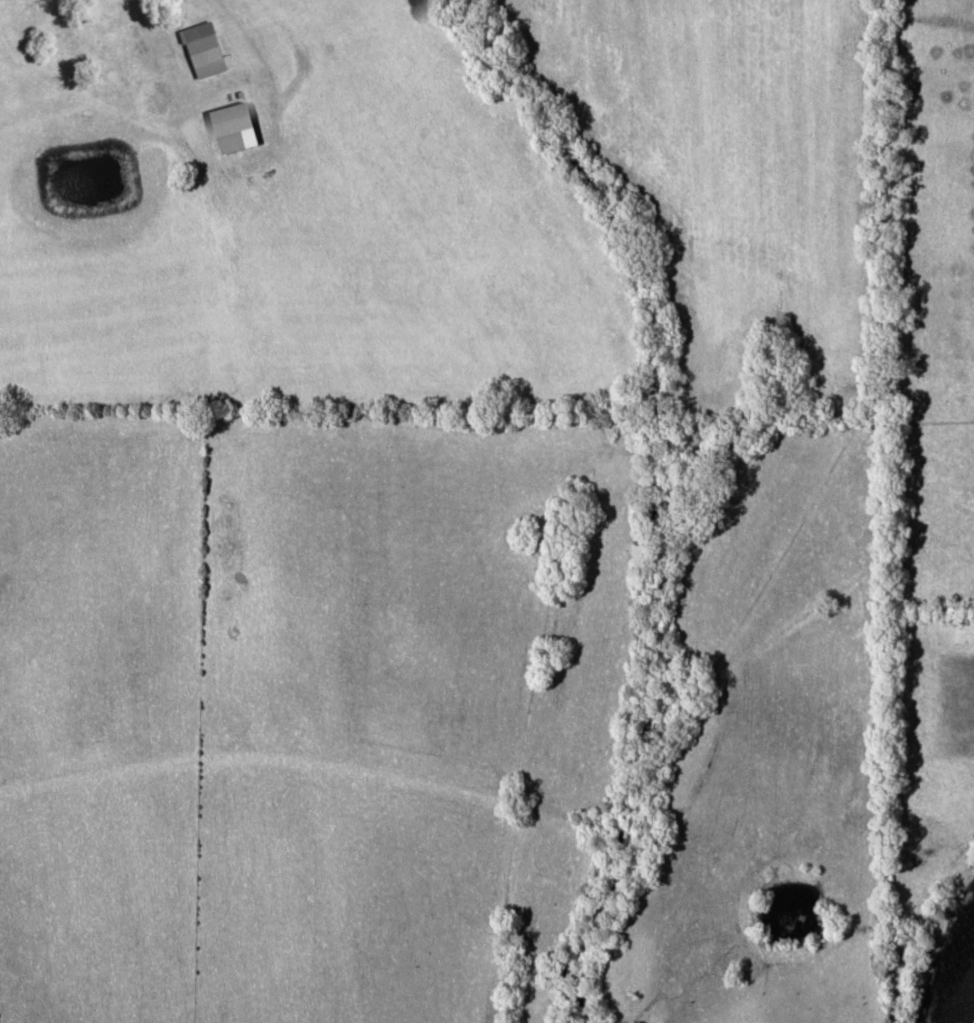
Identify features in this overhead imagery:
building: (204, 49)
building: (233, 118)

